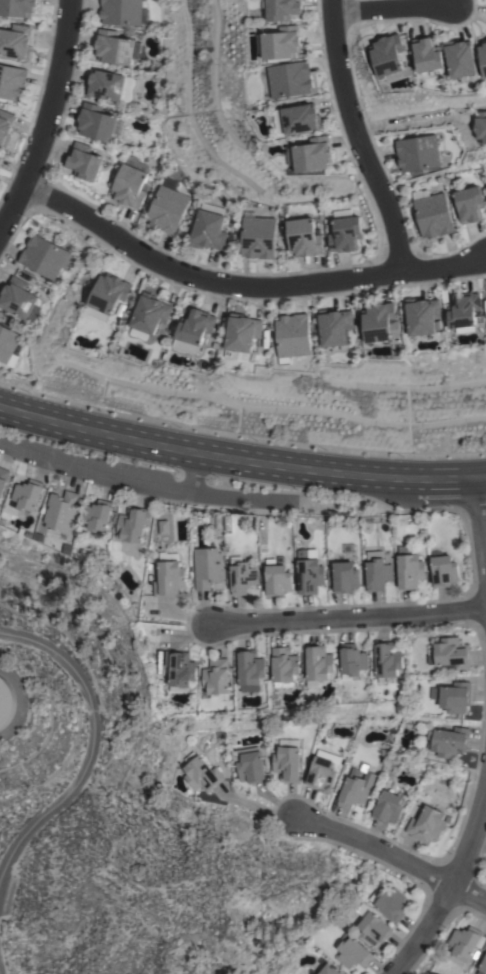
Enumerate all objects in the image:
building: (18, 7)
road: (390, 7)
building: (283, 8)
building: (123, 12)
building: (15, 41)
building: (282, 42)
building: (116, 47)
building: (387, 54)
building: (427, 54)
building: (483, 55)
building: (460, 57)
building: (291, 78)
building: (12, 81)
building: (109, 85)
road: (49, 119)
building: (298, 119)
building: (96, 122)
road: (404, 123)
building: (480, 125)
building: (5, 126)
road: (355, 139)
building: (417, 152)
building: (311, 154)
building: (0, 155)
building: (83, 161)
building: (130, 182)
building: (469, 203)
building: (167, 206)
building: (432, 213)
building: (208, 230)
building: (345, 233)
building: (257, 236)
building: (303, 237)
building: (43, 256)
road: (243, 285)
building: (108, 296)
building: (19, 299)
building: (463, 309)
building: (151, 313)
building: (422, 315)
building: (381, 322)
building: (335, 326)
building: (195, 330)
building: (243, 336)
building: (294, 336)
building: (10, 345)
road: (240, 460)
road: (113, 476)
building: (3, 478)
building: (27, 494)
building: (60, 511)
building: (97, 515)
road: (481, 520)
building: (133, 523)
building: (162, 526)
building: (207, 567)
building: (408, 568)
building: (444, 570)
building: (308, 571)
building: (378, 574)
building: (242, 575)
building: (345, 576)
building: (168, 578)
building: (277, 578)
road: (349, 614)
building: (450, 654)
building: (353, 659)
building: (387, 659)
building: (318, 662)
building: (285, 664)
building: (179, 669)
building: (251, 670)
building: (216, 676)
building: (453, 696)
building: (5, 701)
road: (89, 733)
building: (449, 741)
building: (287, 763)
building: (249, 764)
building: (322, 770)
building: (201, 774)
building: (356, 787)
building: (388, 807)
building: (426, 824)
road: (392, 862)
road: (454, 884)
building: (389, 903)
building: (373, 929)
building: (464, 942)
building: (485, 947)
building: (352, 953)
building: (483, 967)
building: (328, 970)

